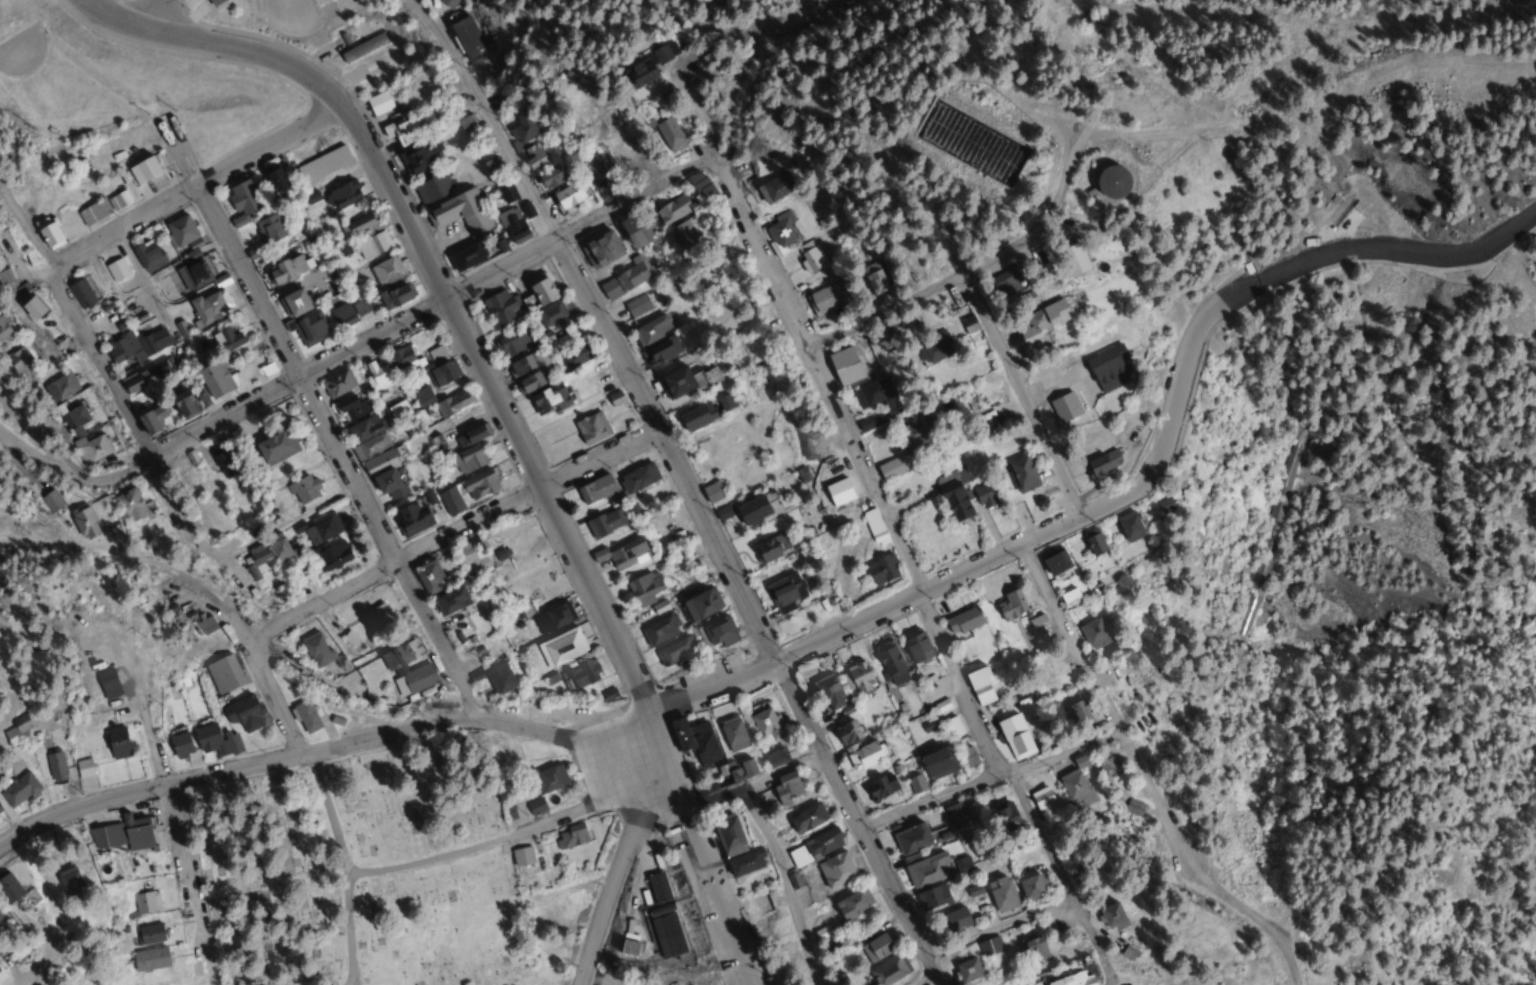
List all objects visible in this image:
road: (289, 0)
building: (213, 2)
building: (446, 2)
road: (789, 9)
road: (164, 18)
building: (465, 36)
road: (6, 47)
building: (363, 47)
building: (658, 51)
building: (634, 71)
building: (664, 96)
building: (378, 103)
building: (465, 122)
building: (599, 122)
building: (521, 130)
building: (398, 132)
building: (668, 133)
building: (964, 141)
building: (620, 145)
road: (268, 146)
building: (535, 153)
building: (421, 155)
building: (326, 163)
building: (146, 169)
building: (596, 173)
building: (550, 178)
building: (273, 179)
building: (1109, 179)
building: (701, 184)
building: (432, 187)
building: (773, 187)
road: (209, 188)
building: (507, 194)
building: (341, 195)
building: (564, 196)
building: (242, 197)
building: (106, 205)
building: (672, 209)
building: (460, 212)
building: (360, 226)
building: (512, 226)
road: (122, 227)
building: (268, 228)
building: (781, 229)
road: (24, 230)
building: (181, 230)
building: (634, 230)
building: (49, 235)
building: (683, 236)
building: (372, 245)
building: (601, 249)
road: (1400, 250)
building: (148, 255)
building: (467, 257)
building: (812, 259)
road: (967, 266)
building: (117, 269)
building: (285, 269)
road: (507, 269)
building: (386, 272)
building: (193, 274)
building: (626, 278)
building: (874, 279)
road: (429, 285)
building: (1004, 285)
building: (539, 290)
building: (81, 293)
building: (396, 295)
building: (826, 297)
building: (293, 302)
road: (464, 303)
building: (209, 306)
building: (637, 306)
building: (360, 307)
building: (499, 307)
building: (554, 311)
building: (33, 312)
building: (342, 315)
building: (1040, 319)
building: (309, 328)
building: (3, 330)
building: (651, 330)
building: (226, 339)
building: (514, 341)
building: (882, 341)
building: (137, 344)
building: (934, 345)
building: (662, 350)
building: (576, 354)
building: (20, 358)
building: (404, 359)
building: (524, 363)
road: (101, 364)
building: (845, 365)
building: (158, 367)
building: (440, 367)
building: (1106, 367)
building: (376, 374)
building: (708, 378)
building: (214, 379)
road: (313, 380)
building: (135, 381)
building: (528, 382)
building: (676, 382)
building: (338, 384)
building: (60, 386)
road: (1022, 393)
building: (877, 396)
building: (548, 399)
building: (615, 399)
building: (452, 403)
building: (184, 404)
building: (1063, 406)
building: (350, 407)
building: (397, 409)
building: (696, 416)
building: (153, 419)
road: (323, 421)
building: (865, 424)
building: (591, 428)
road: (0, 431)
building: (470, 435)
building: (917, 435)
building: (76, 436)
building: (366, 438)
building: (275, 447)
building: (1316, 450)
road: (151, 458)
building: (468, 460)
building: (220, 461)
building: (1100, 463)
building: (890, 469)
building: (382, 471)
building: (1020, 474)
building: (639, 478)
building: (479, 485)
road: (685, 486)
building: (303, 490)
building: (595, 490)
building: (837, 491)
road: (525, 492)
building: (712, 492)
building: (985, 495)
road: (177, 498)
building: (50, 501)
building: (450, 501)
building: (954, 502)
building: (130, 505)
building: (1163, 505)
building: (752, 510)
building: (412, 520)
building: (83, 522)
building: (605, 523)
building: (1127, 525)
building: (320, 528)
building: (1092, 542)
building: (766, 551)
road: (1006, 551)
building: (269, 552)
building: (622, 554)
building: (331, 556)
building: (472, 561)
building: (1054, 562)
building: (881, 570)
road: (912, 572)
building: (429, 577)
building: (239, 578)
building: (644, 588)
building: (786, 591)
road: (323, 601)
building: (450, 601)
building: (698, 605)
building: (1010, 605)
building: (377, 618)
building: (553, 618)
building: (963, 621)
building: (206, 625)
building: (661, 629)
building: (719, 631)
building: (1092, 633)
building: (916, 645)
building: (561, 648)
building: (316, 649)
building: (675, 651)
building: (395, 657)
building: (888, 659)
building: (223, 674)
building: (580, 675)
building: (415, 678)
building: (857, 678)
building: (499, 679)
road: (269, 681)
building: (979, 686)
road: (1098, 691)
building: (828, 692)
building: (243, 714)
building: (305, 717)
building: (766, 726)
building: (846, 732)
building: (733, 734)
building: (1010, 734)
road: (562, 737)
building: (214, 740)
building: (694, 740)
building: (116, 742)
building: (179, 743)
building: (864, 756)
building: (968, 756)
building: (775, 757)
building: (937, 762)
building: (54, 766)
building: (83, 767)
road: (230, 767)
building: (740, 770)
building: (545, 779)
building: (882, 786)
building: (786, 787)
building: (17, 789)
building: (1074, 789)
road: (933, 798)
road: (589, 801)
building: (1042, 803)
building: (535, 806)
building: (1130, 806)
road: (326, 812)
building: (953, 813)
building: (806, 817)
building: (1001, 818)
building: (122, 833)
building: (727, 834)
building: (940, 834)
building: (569, 836)
building: (911, 837)
road: (181, 838)
building: (822, 843)
road: (700, 850)
road: (620, 852)
building: (521, 856)
building: (746, 862)
building: (961, 865)
building: (836, 869)
building: (926, 870)
building: (66, 880)
road: (782, 886)
building: (7, 887)
building: (1028, 888)
building: (998, 894)
building: (931, 897)
building: (852, 903)
building: (760, 904)
building: (144, 905)
building: (1105, 917)
building: (952, 920)
road: (993, 927)
road: (351, 929)
building: (148, 934)
building: (984, 947)
building: (874, 948)
building: (1028, 950)
building: (148, 960)
building: (963, 970)
building: (886, 971)
road: (594, 973)
road: (916, 978)
building: (1066, 979)
road: (1099, 984)

